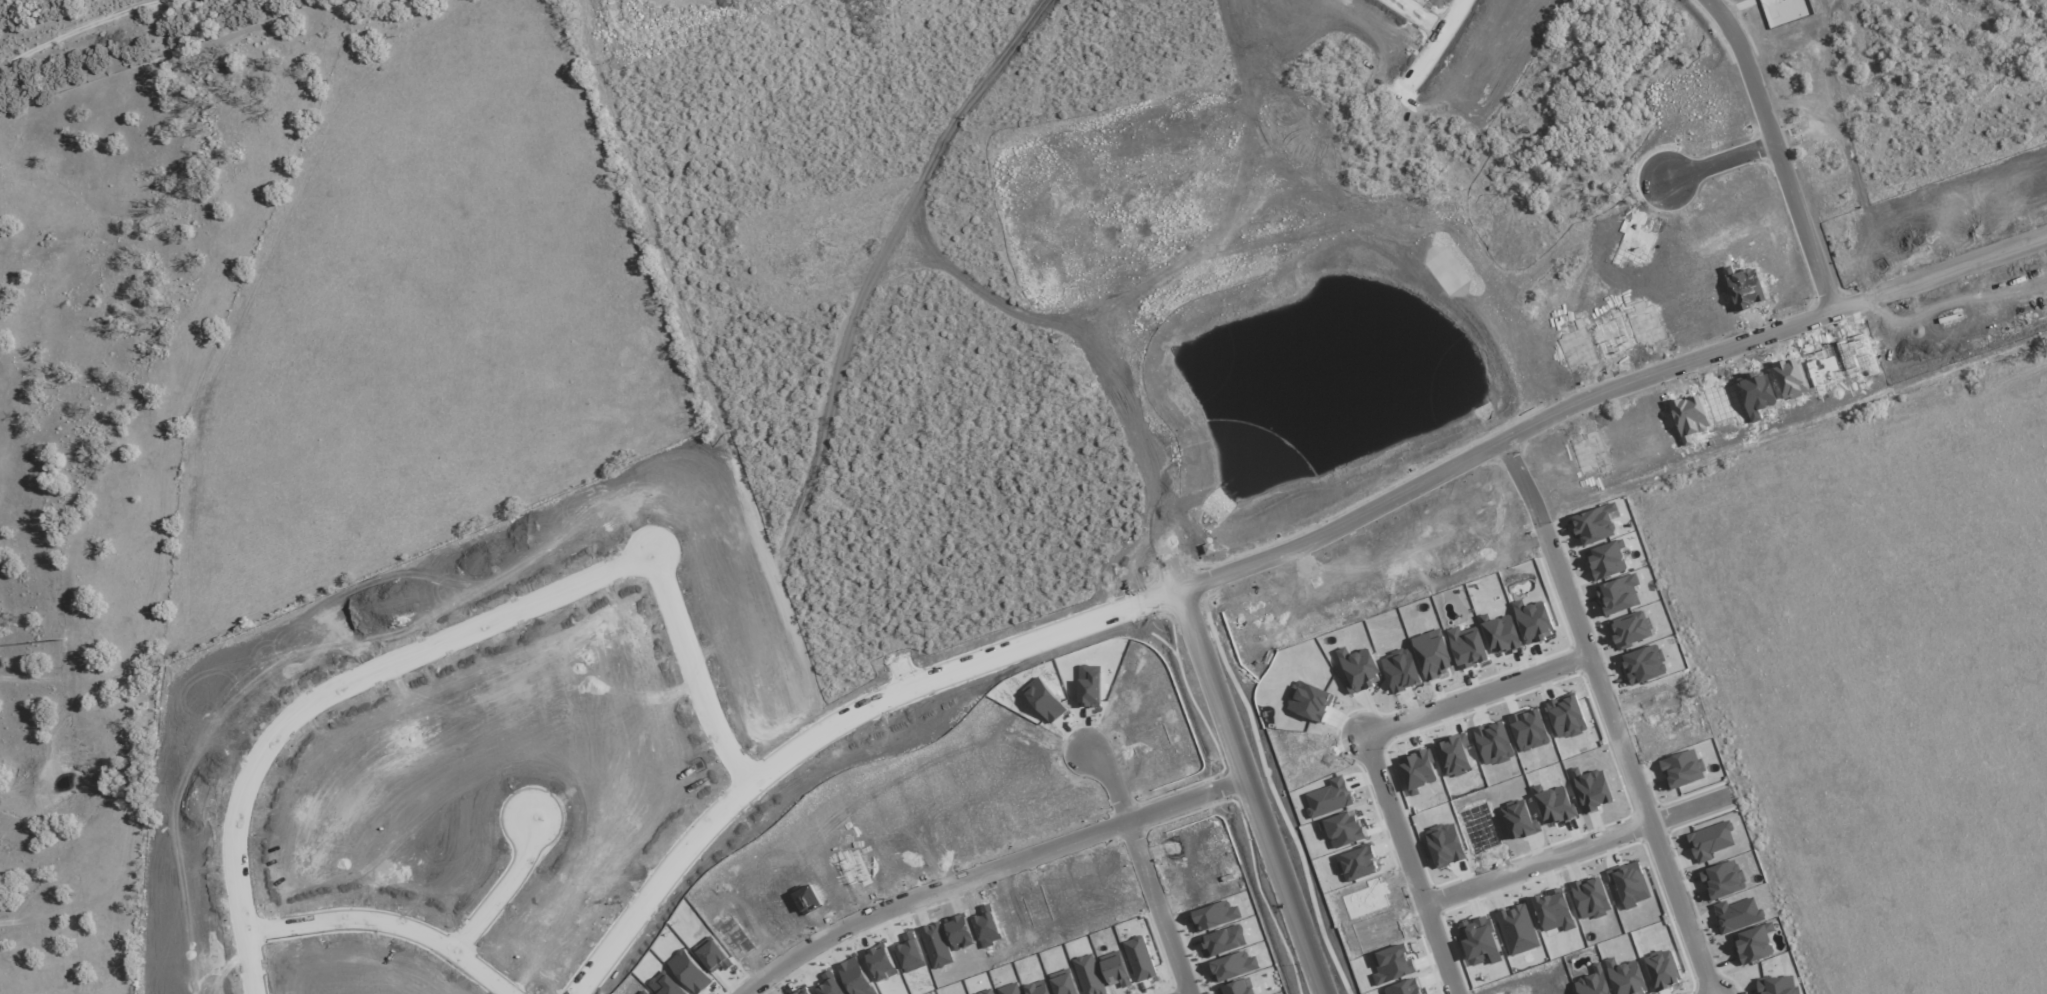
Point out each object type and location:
road: (1432, 6)
road: (95, 29)
road: (1160, 87)
road: (1860, 99)
road: (1786, 148)
road: (1140, 192)
road: (787, 336)
road: (978, 342)
road: (1606, 383)
road: (1153, 501)
power tower: (65, 639)
road: (694, 662)
road: (332, 679)
road: (1608, 711)
road: (827, 715)
road: (1367, 752)
road: (1115, 785)
road: (1690, 810)
road: (1536, 864)
road: (994, 870)
road: (507, 881)
road: (1159, 909)
road: (394, 921)

